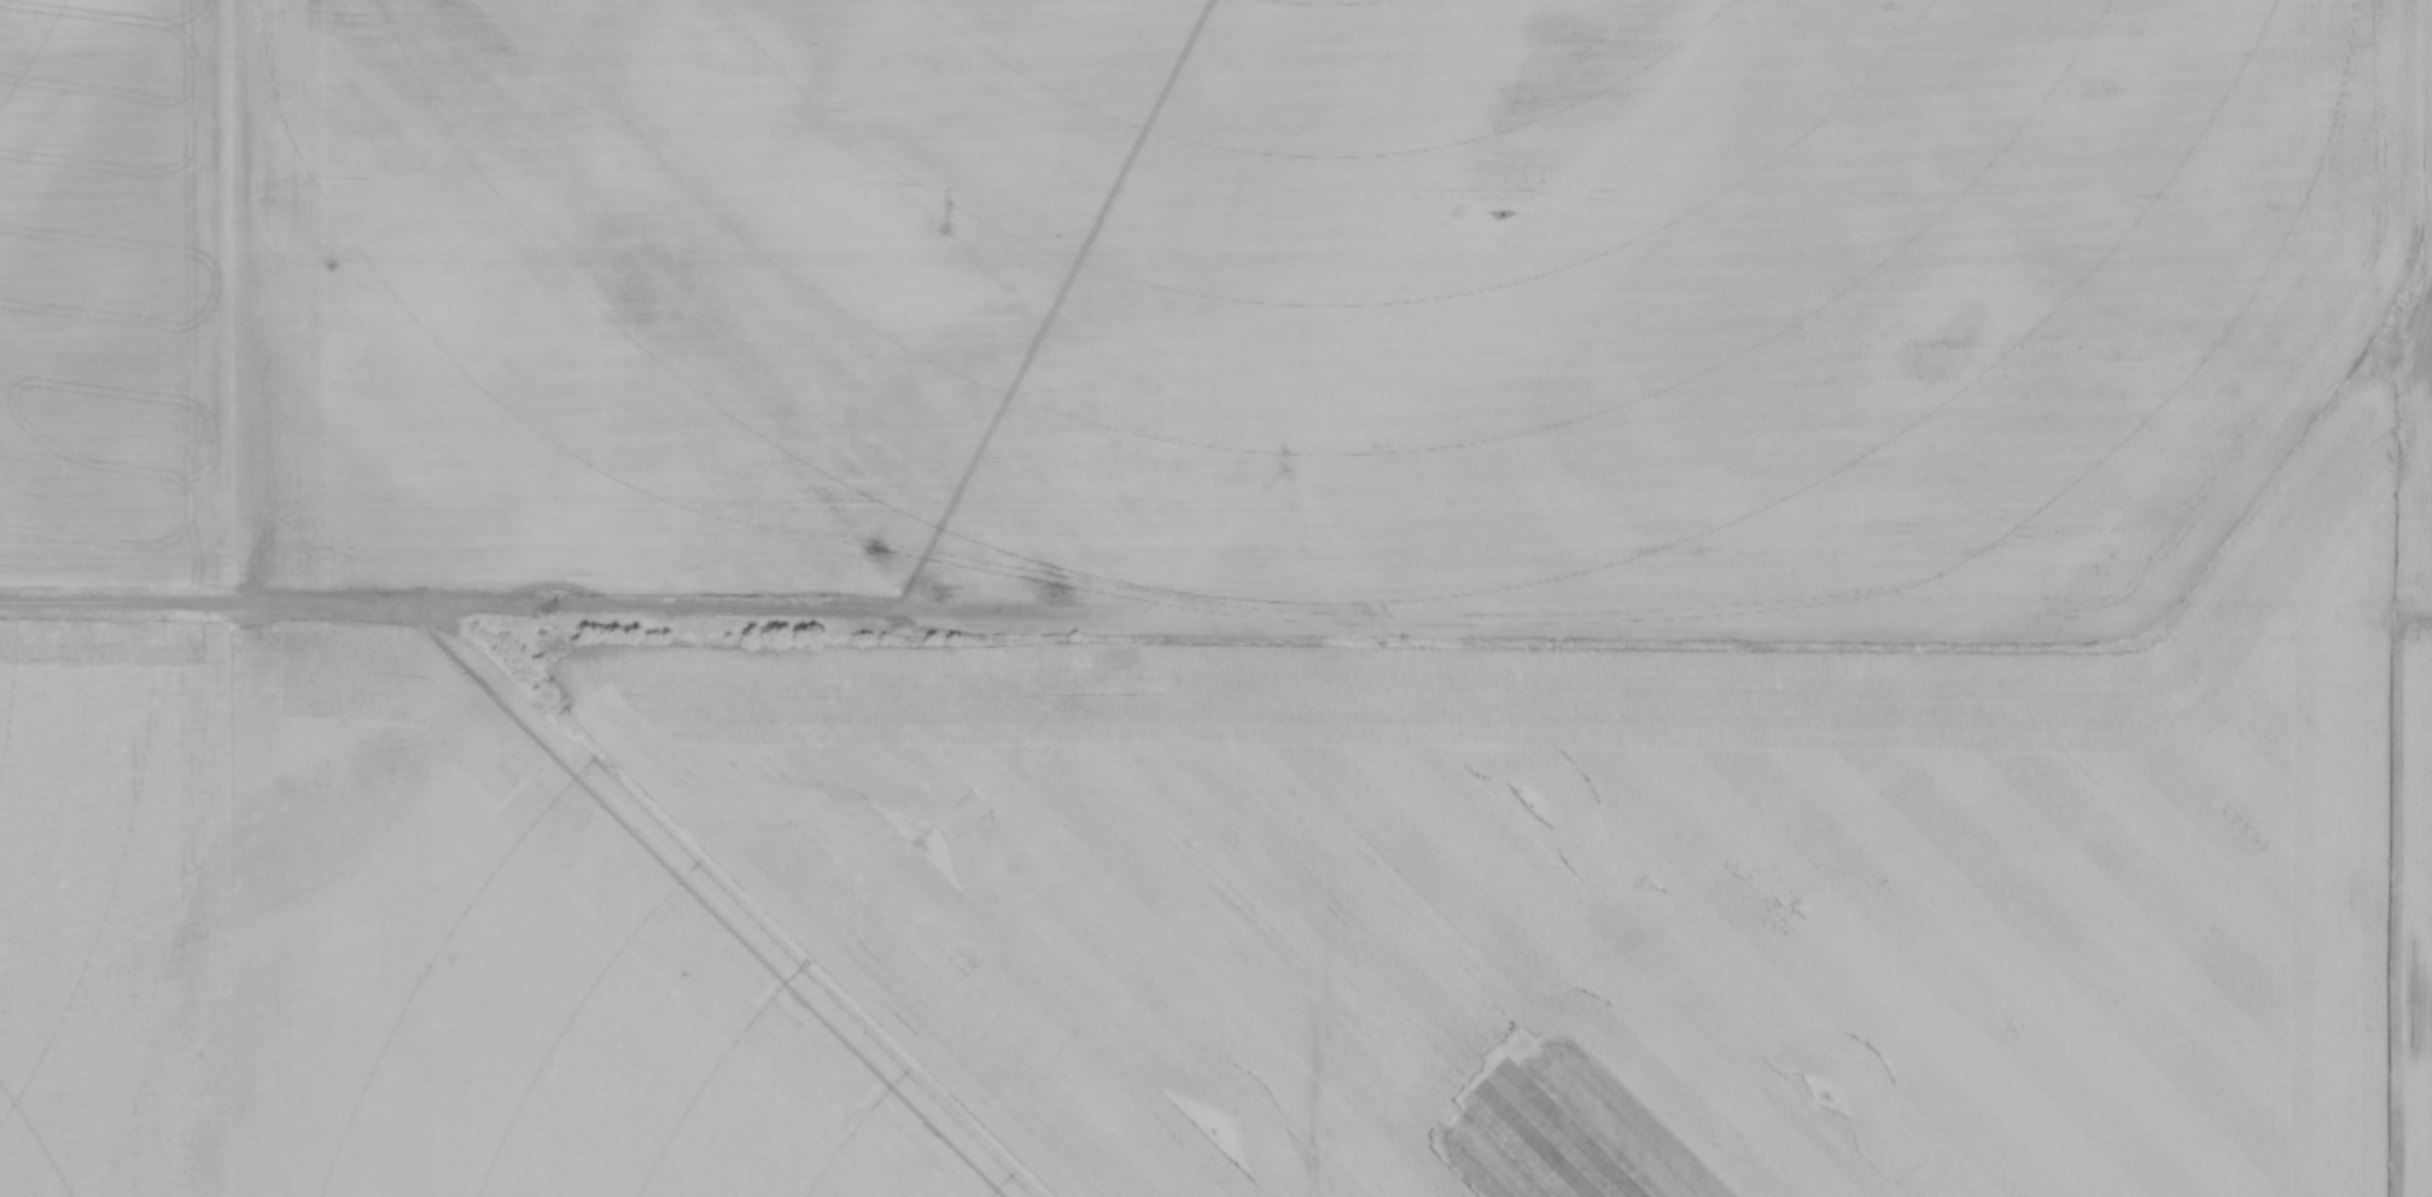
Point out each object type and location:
road: (459, 612)
airport runway: (1555, 1137)

